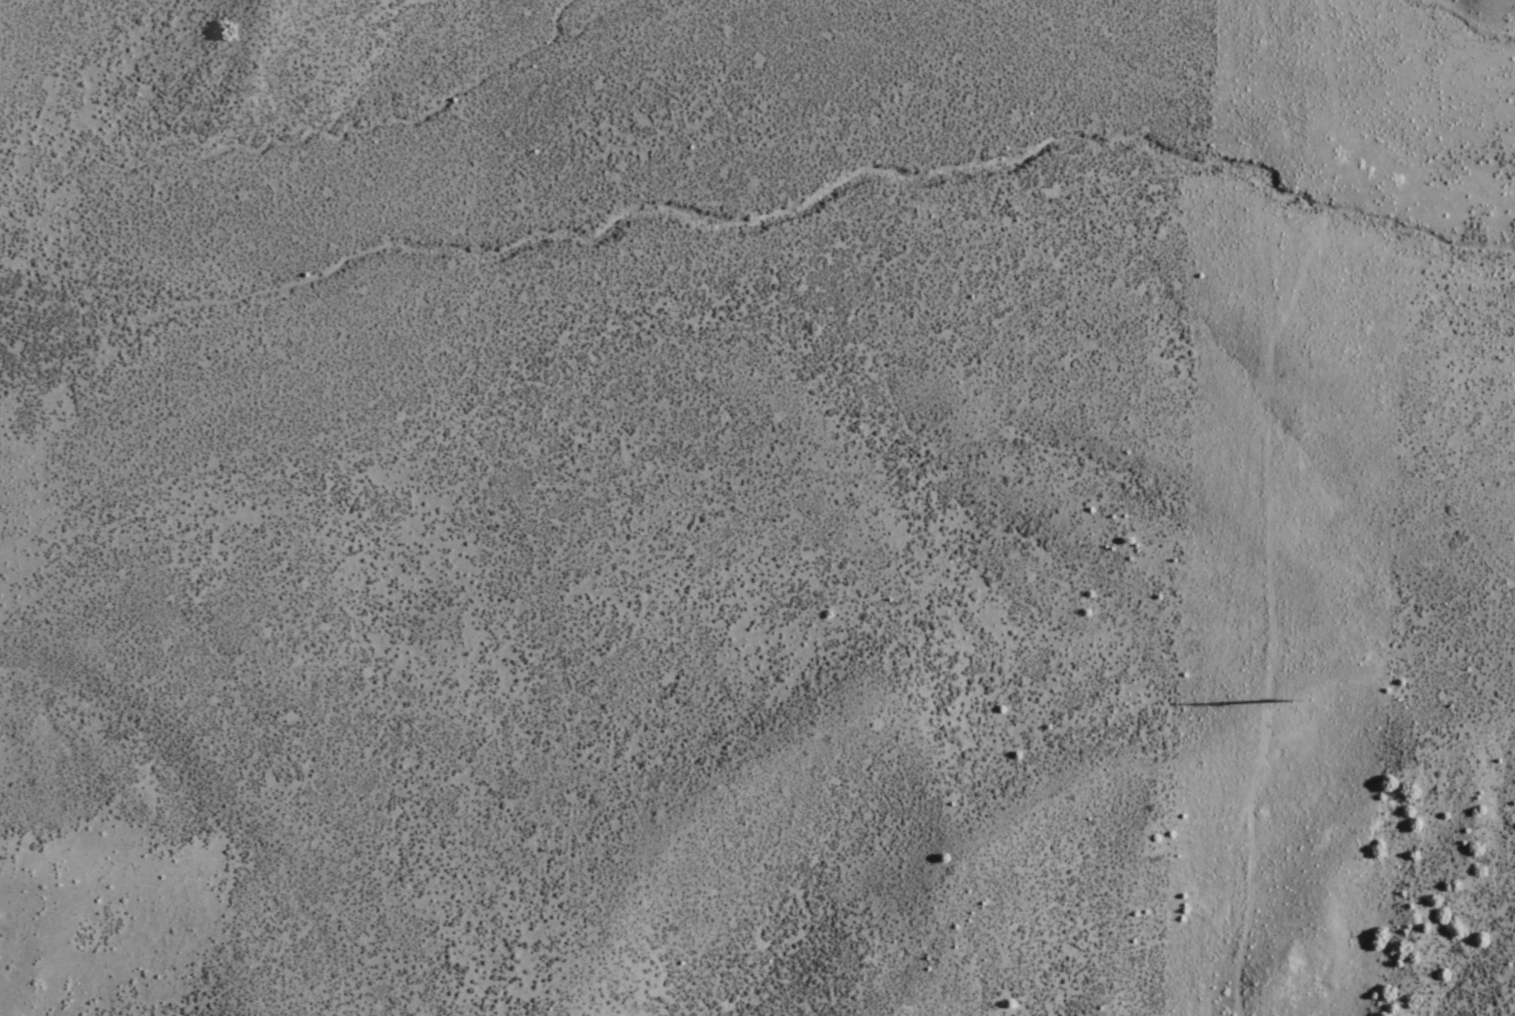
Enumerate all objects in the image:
road: (1261, 509)
power tower: (1283, 707)

